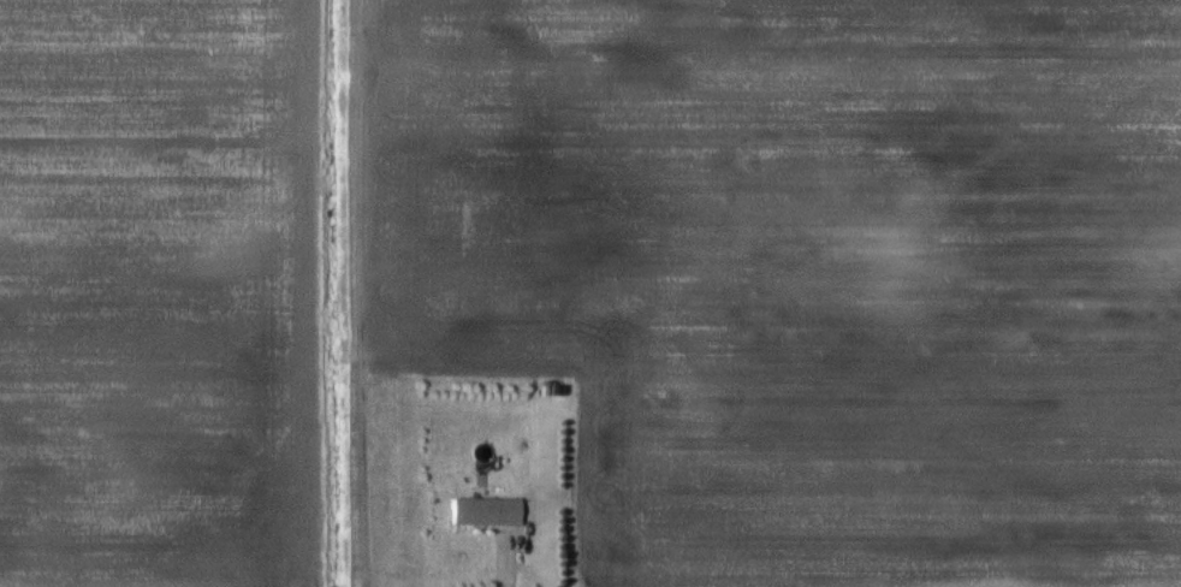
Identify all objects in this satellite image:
building: (487, 510)

